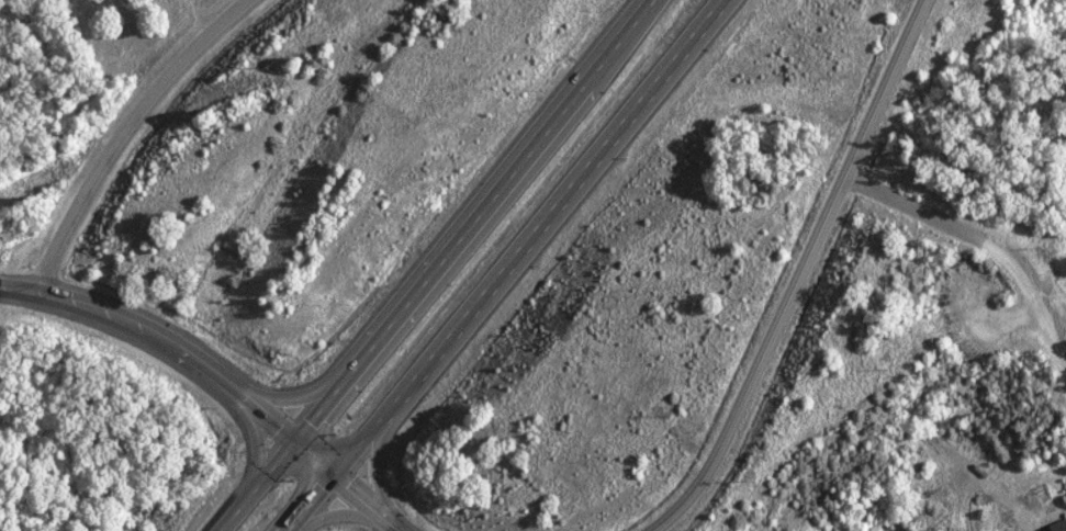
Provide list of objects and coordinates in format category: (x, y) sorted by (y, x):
road: (121, 133)
road: (987, 245)
road: (503, 264)
road: (441, 265)
road: (803, 276)
road: (184, 348)
traffic signals: (300, 440)
traffic signals: (336, 472)
road: (369, 502)
building: (1058, 526)

